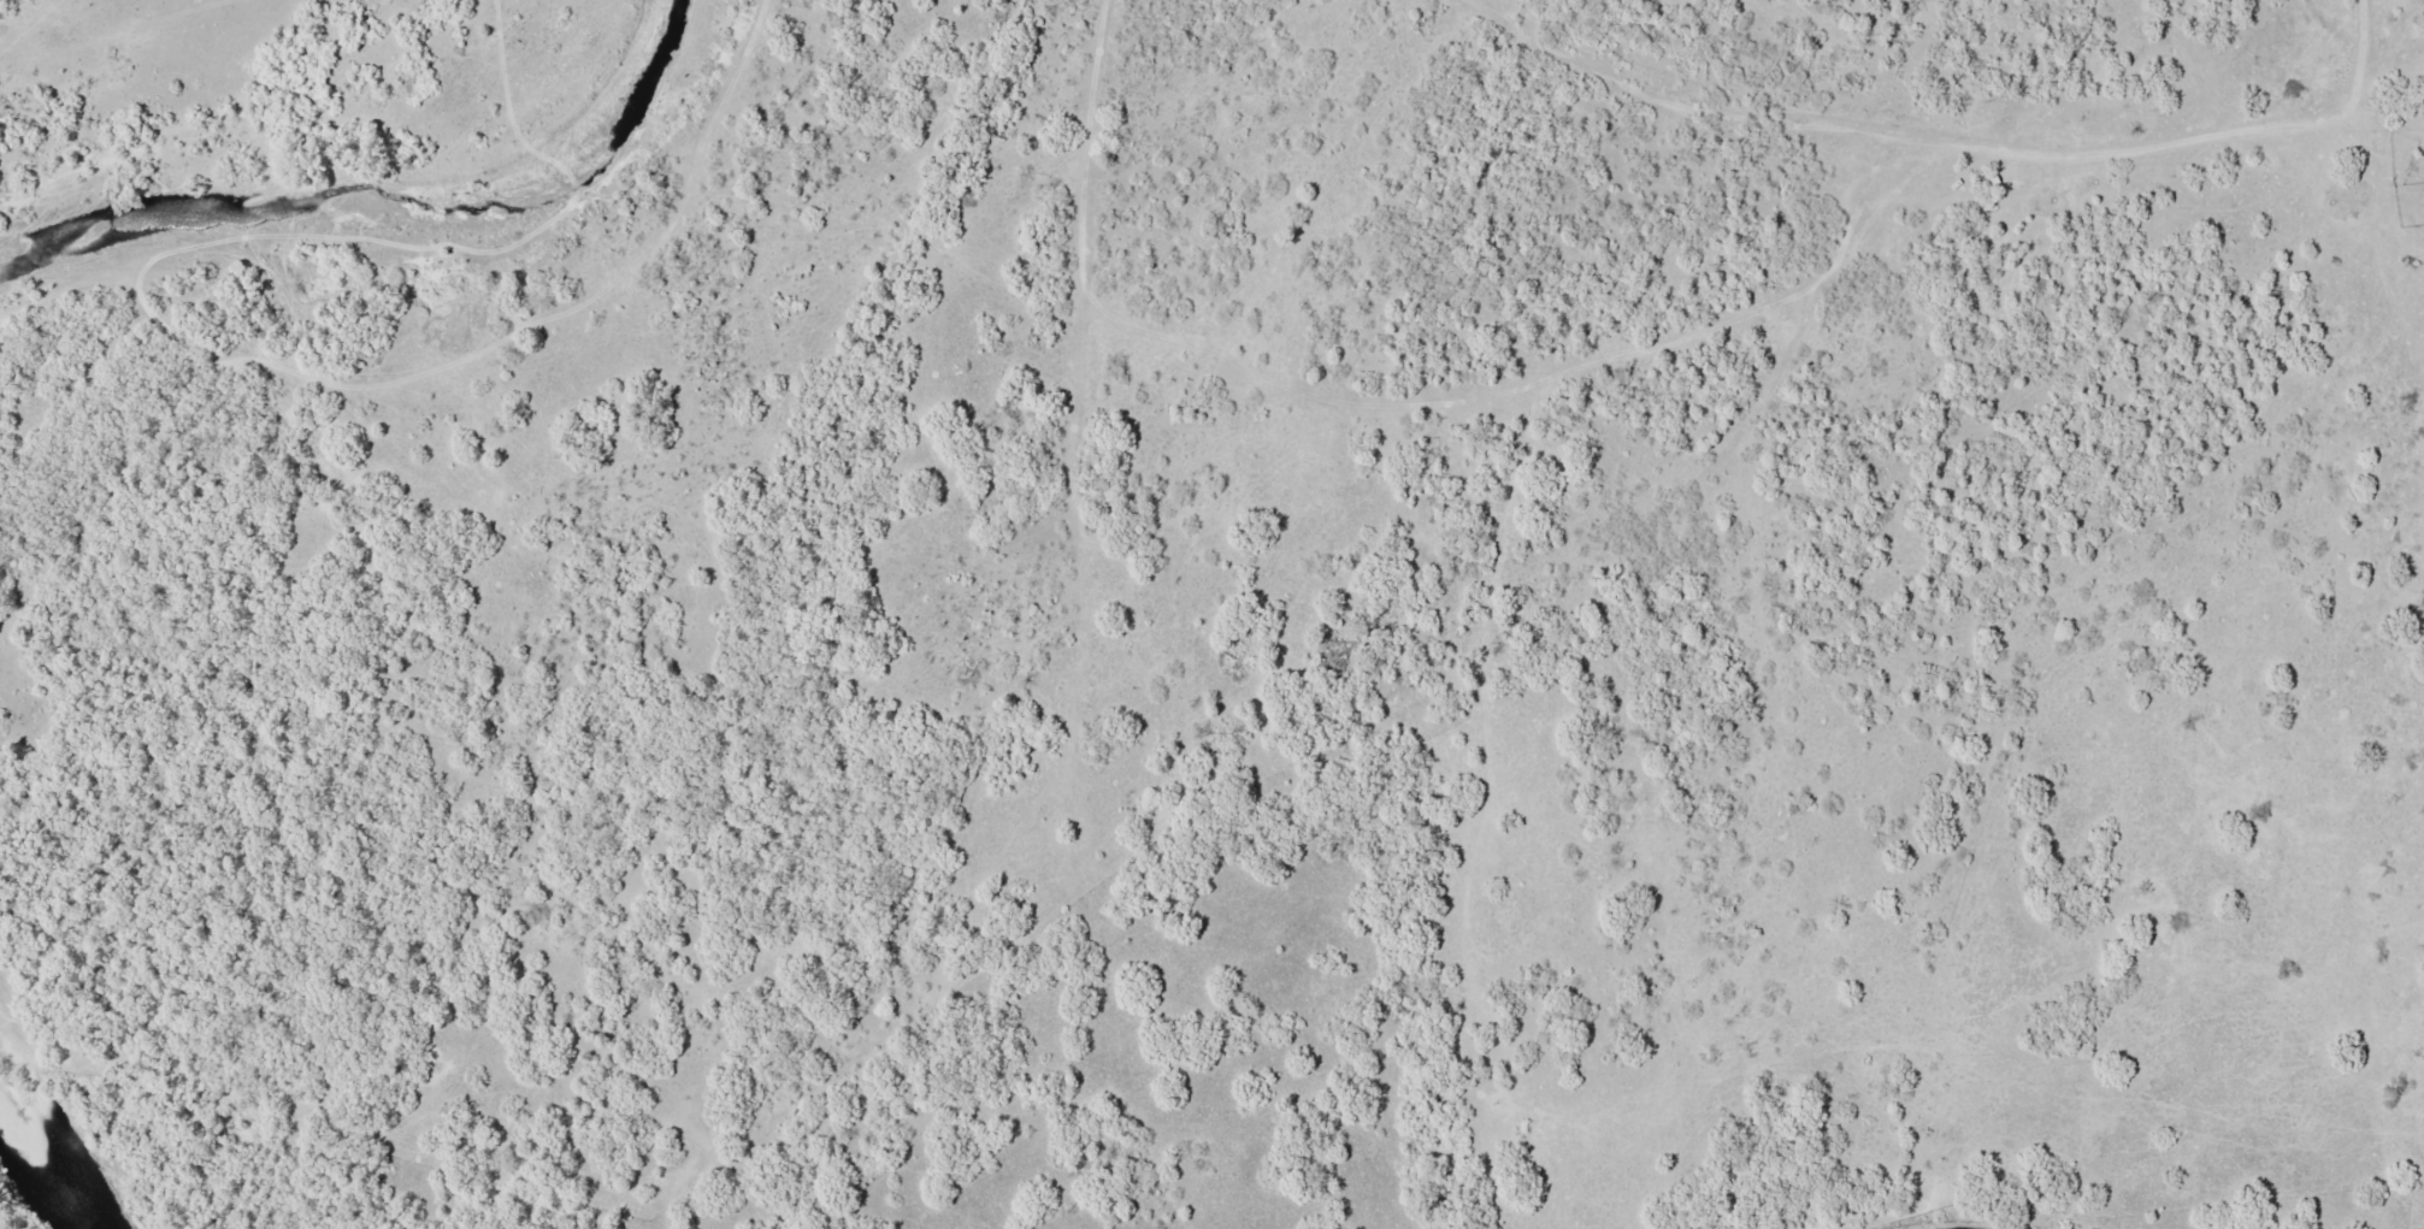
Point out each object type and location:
road: (2385, 124)
road: (1958, 149)
road: (698, 179)

